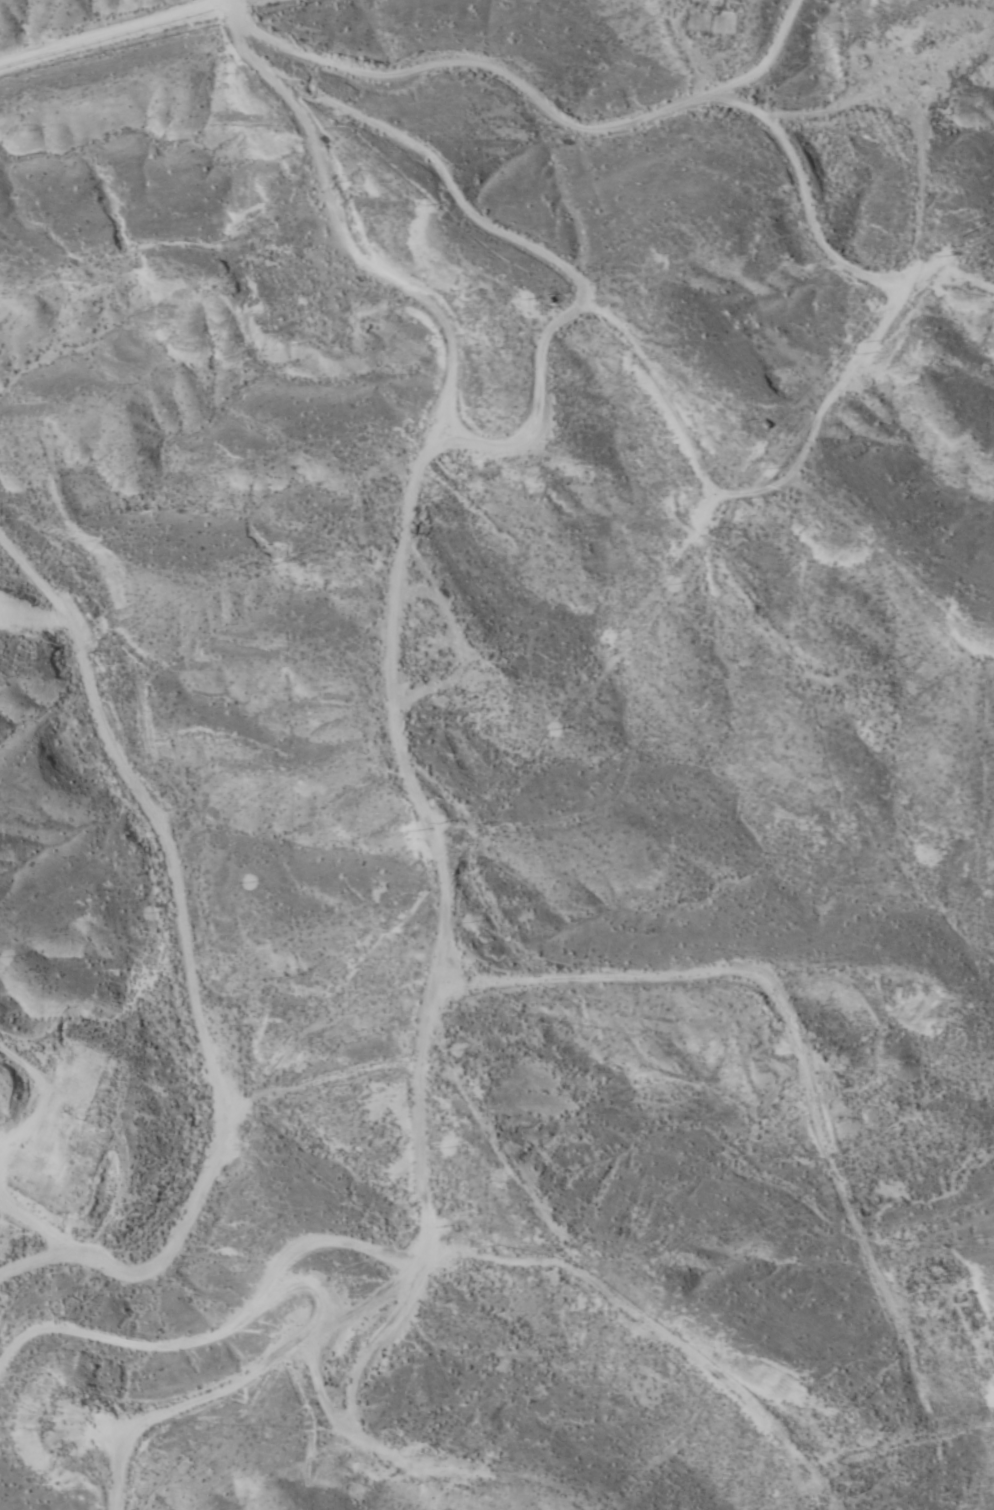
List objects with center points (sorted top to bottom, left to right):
road: (652, 110)
road: (988, 191)
road: (402, 519)
road: (50, 599)
road: (200, 1014)
road: (88, 1180)
road: (418, 1180)
road: (419, 1295)
road: (138, 1366)
road: (946, 1479)

